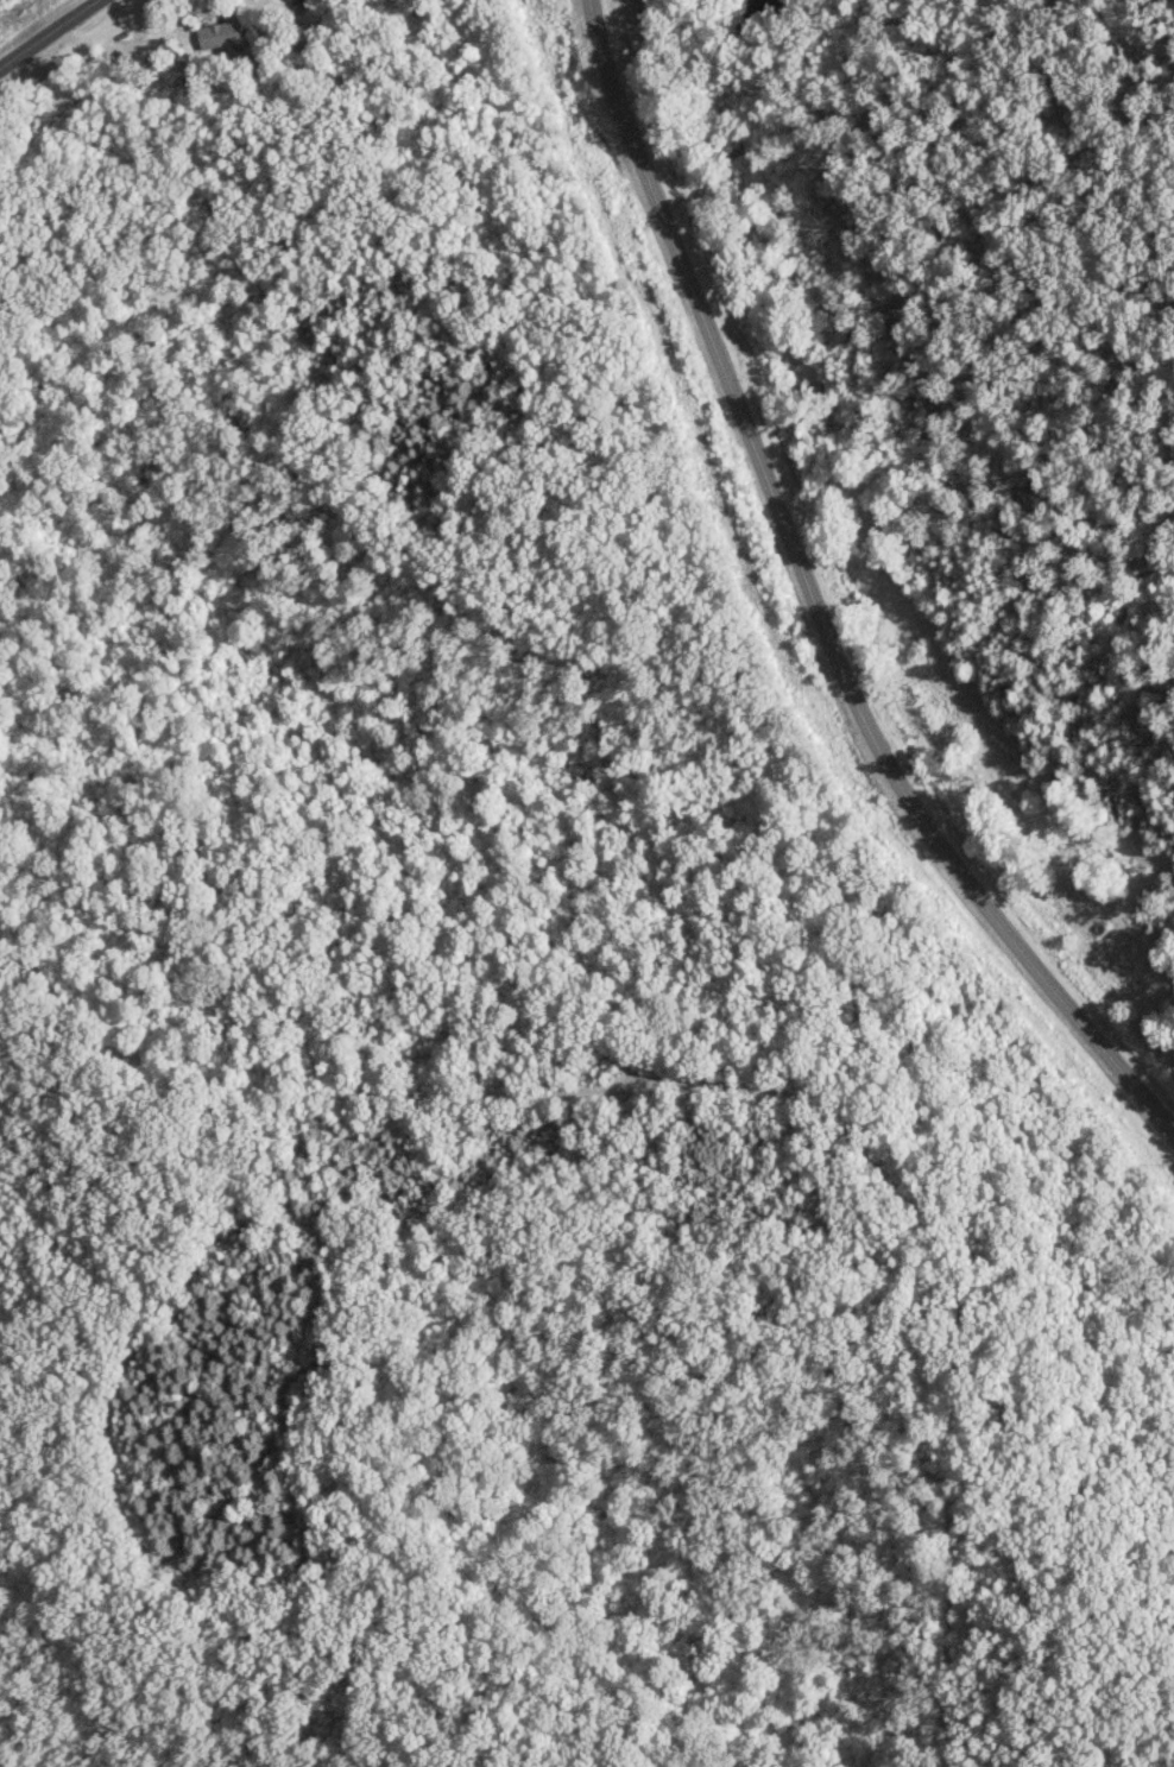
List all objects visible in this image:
road: (45, 32)
building: (220, 33)
road: (812, 604)

